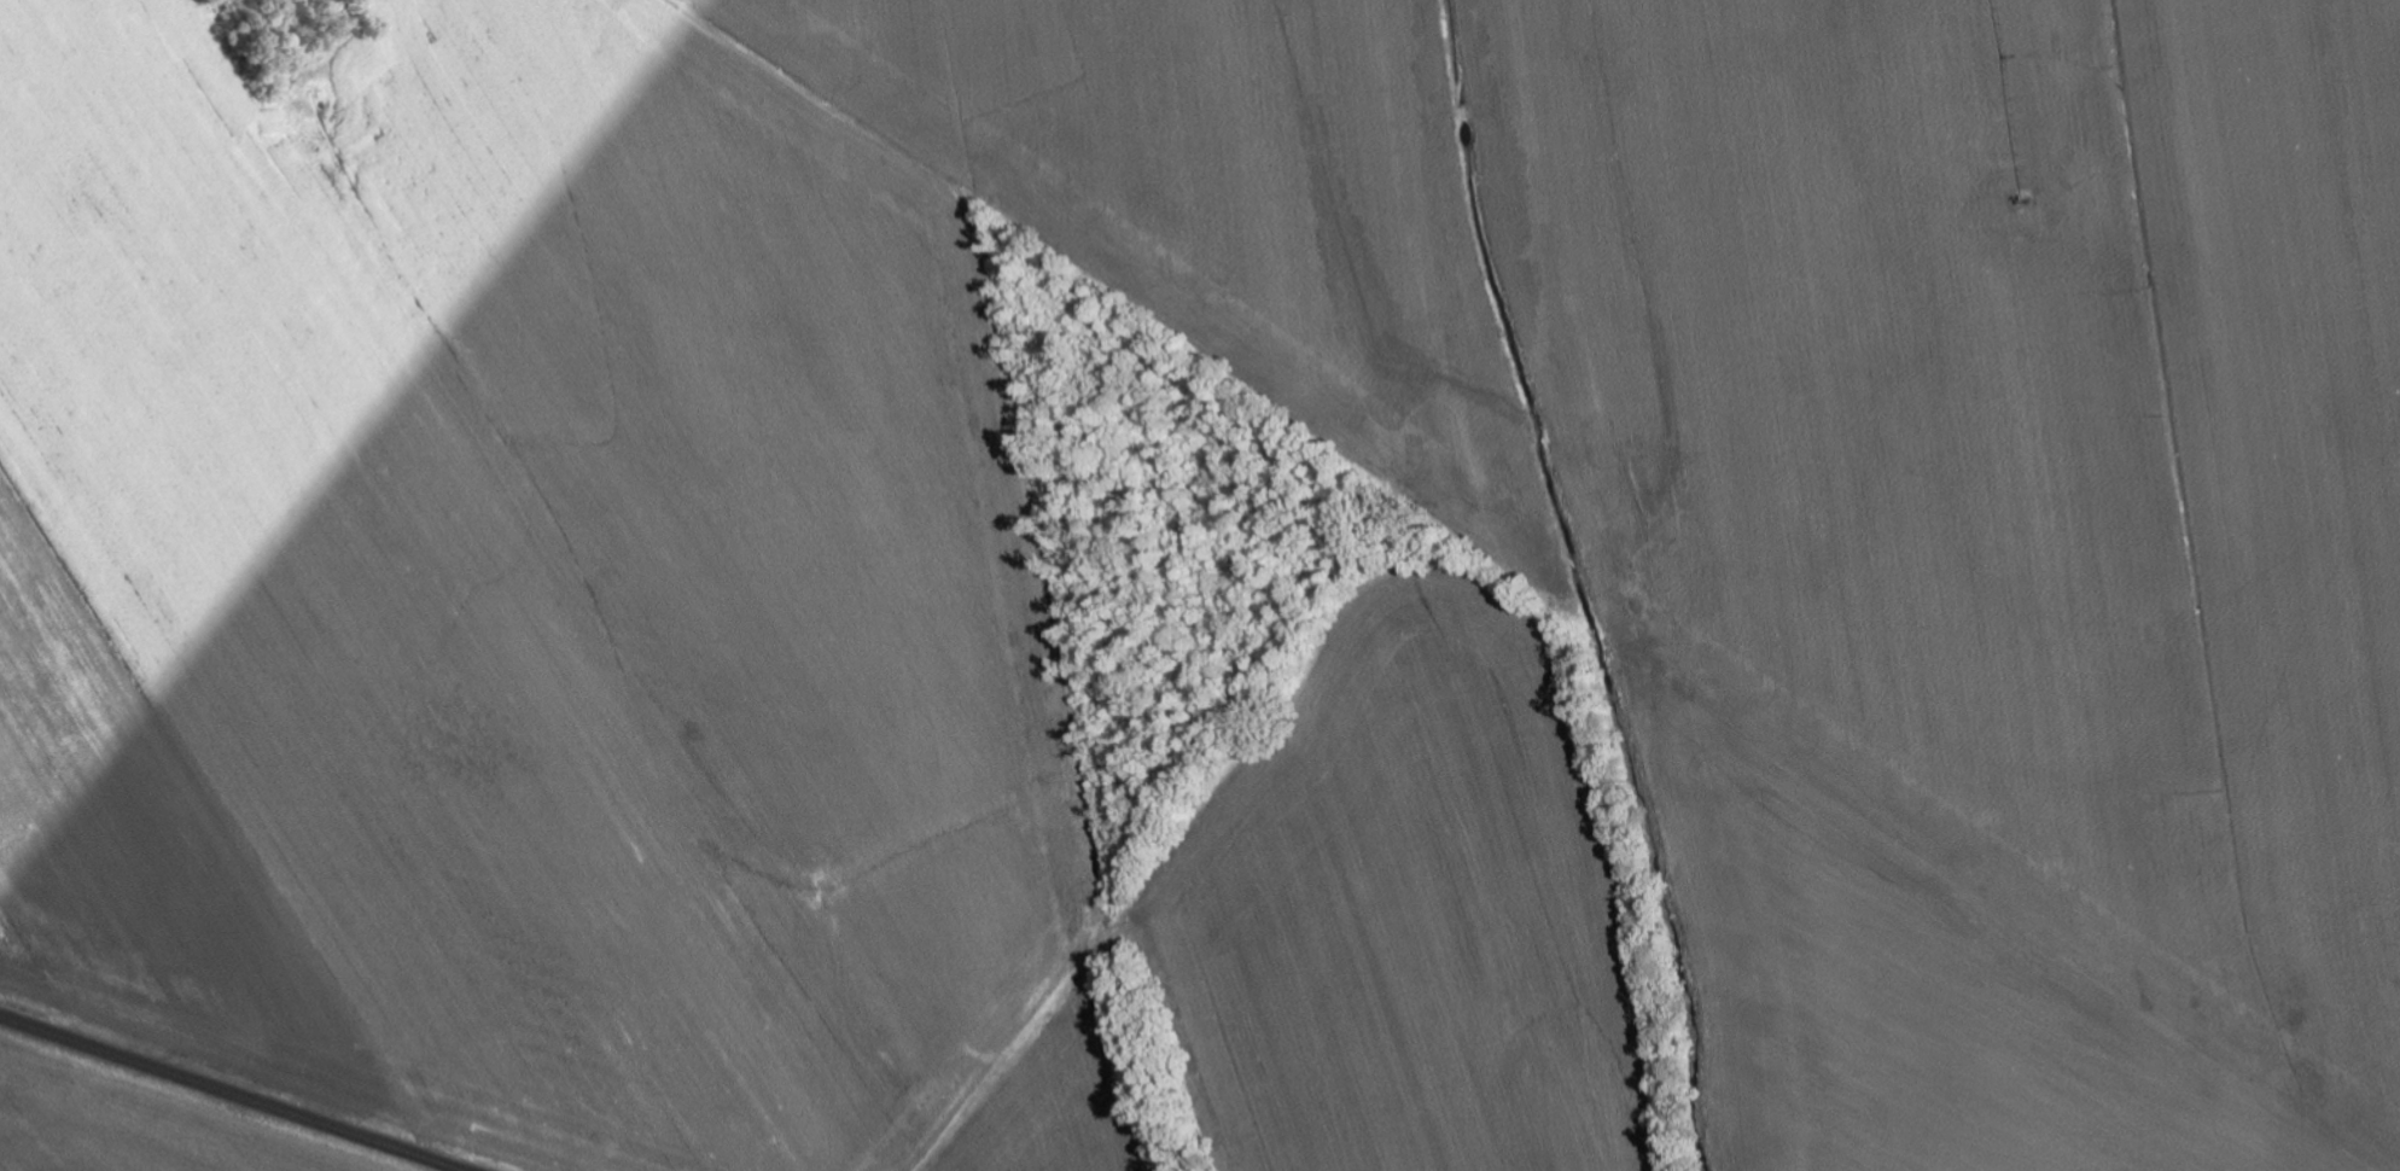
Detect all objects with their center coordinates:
railway: (228, 1094)

